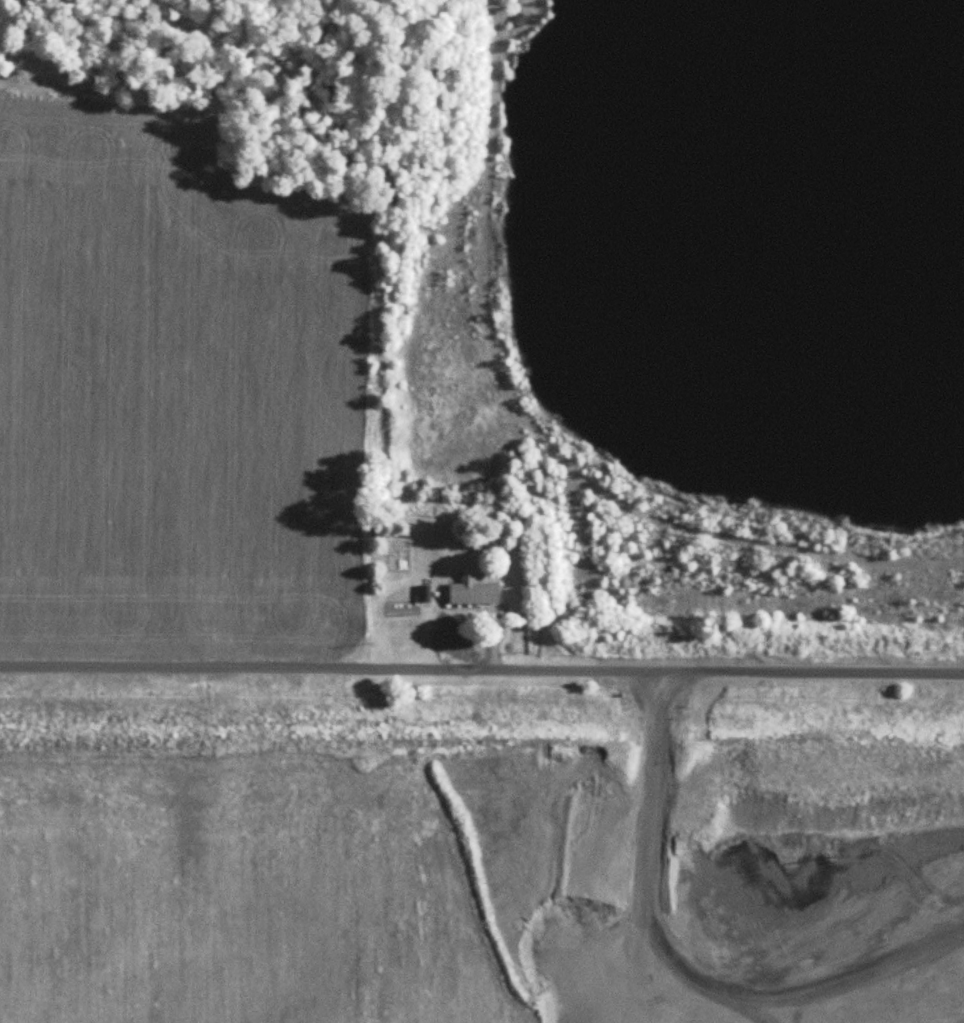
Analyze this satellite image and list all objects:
building: (474, 591)
road: (481, 672)

